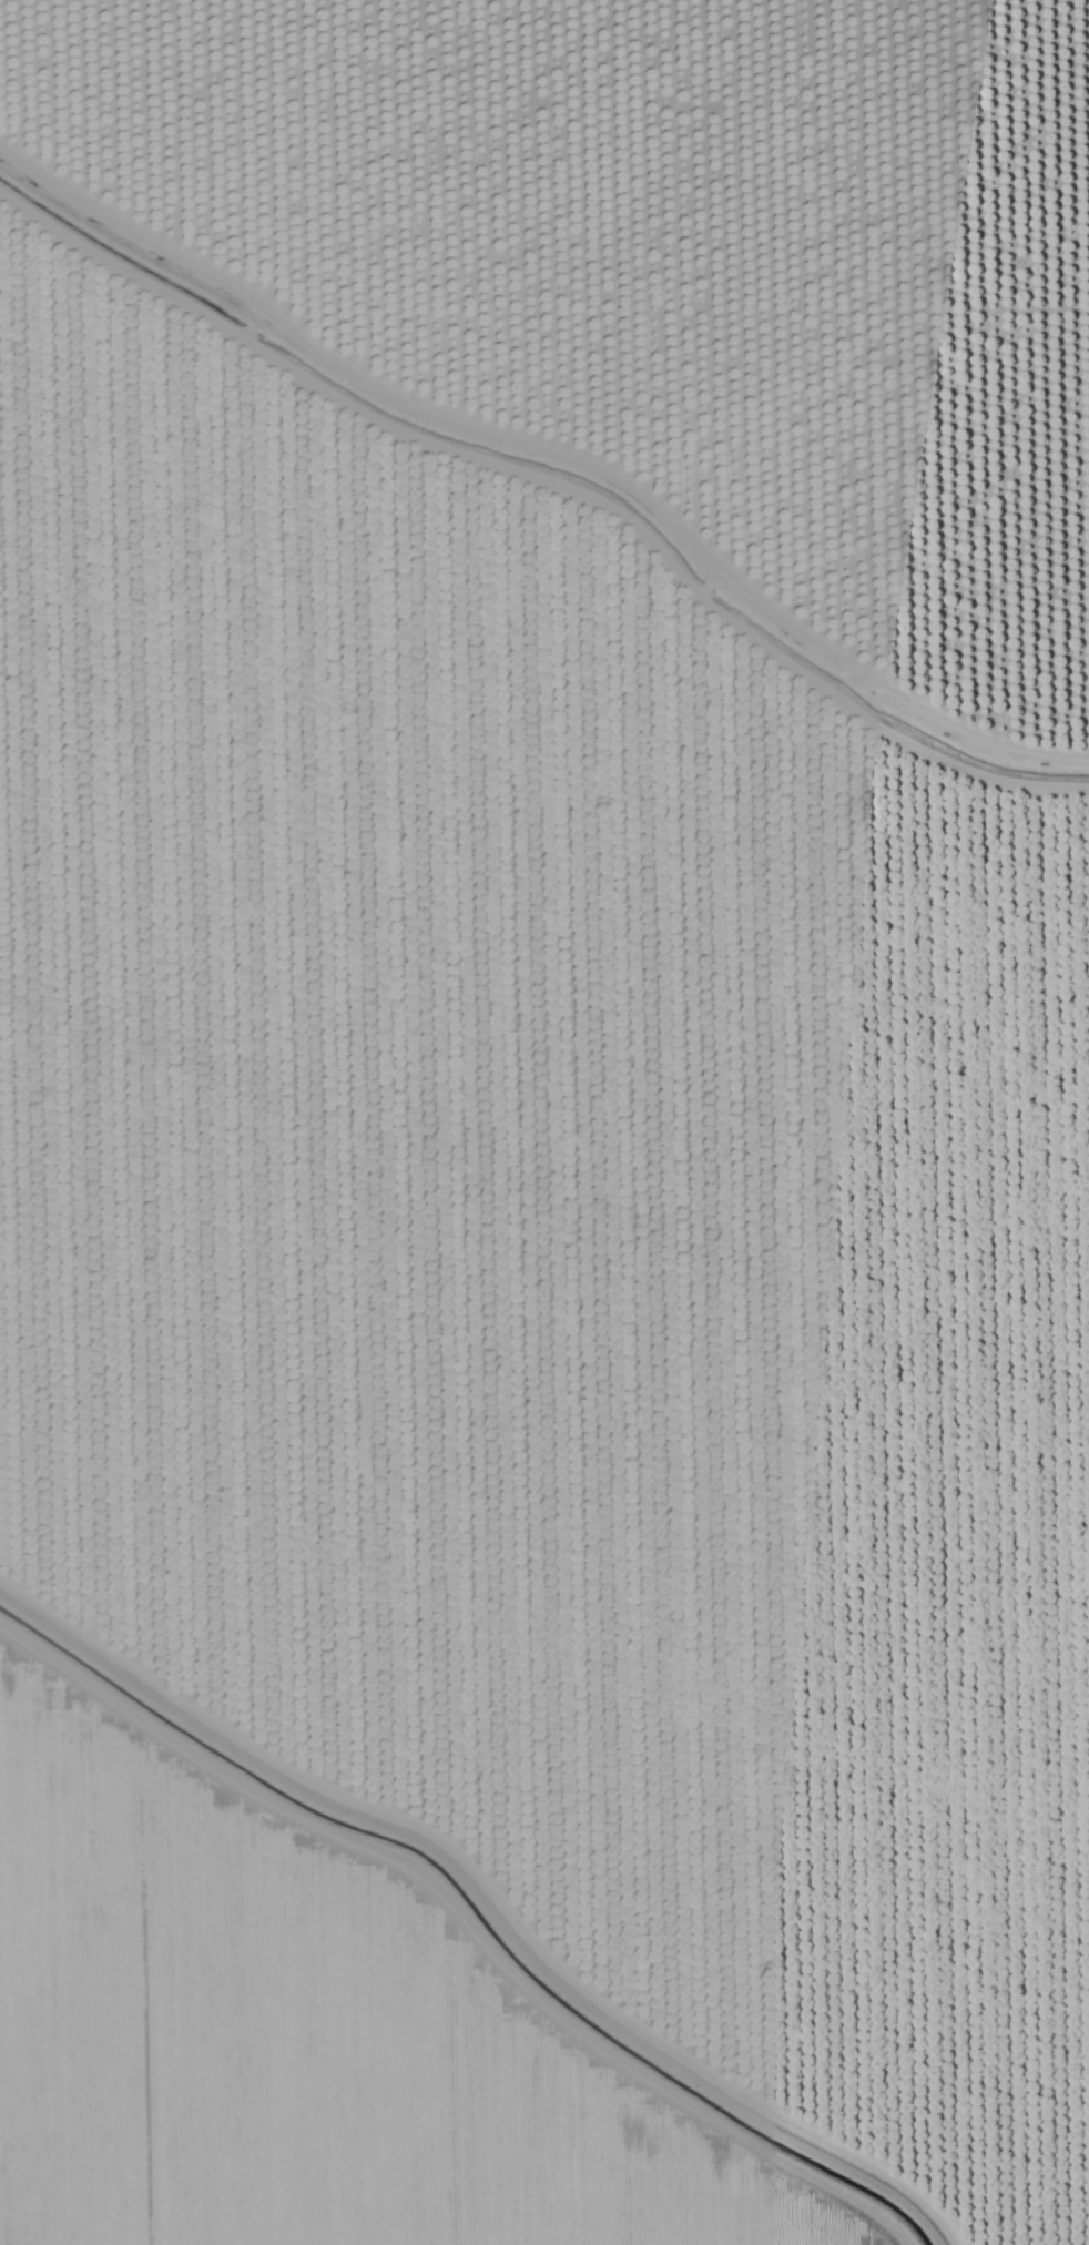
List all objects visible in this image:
crop: (668, 254)
crop: (552, 1236)
crop: (287, 2029)

